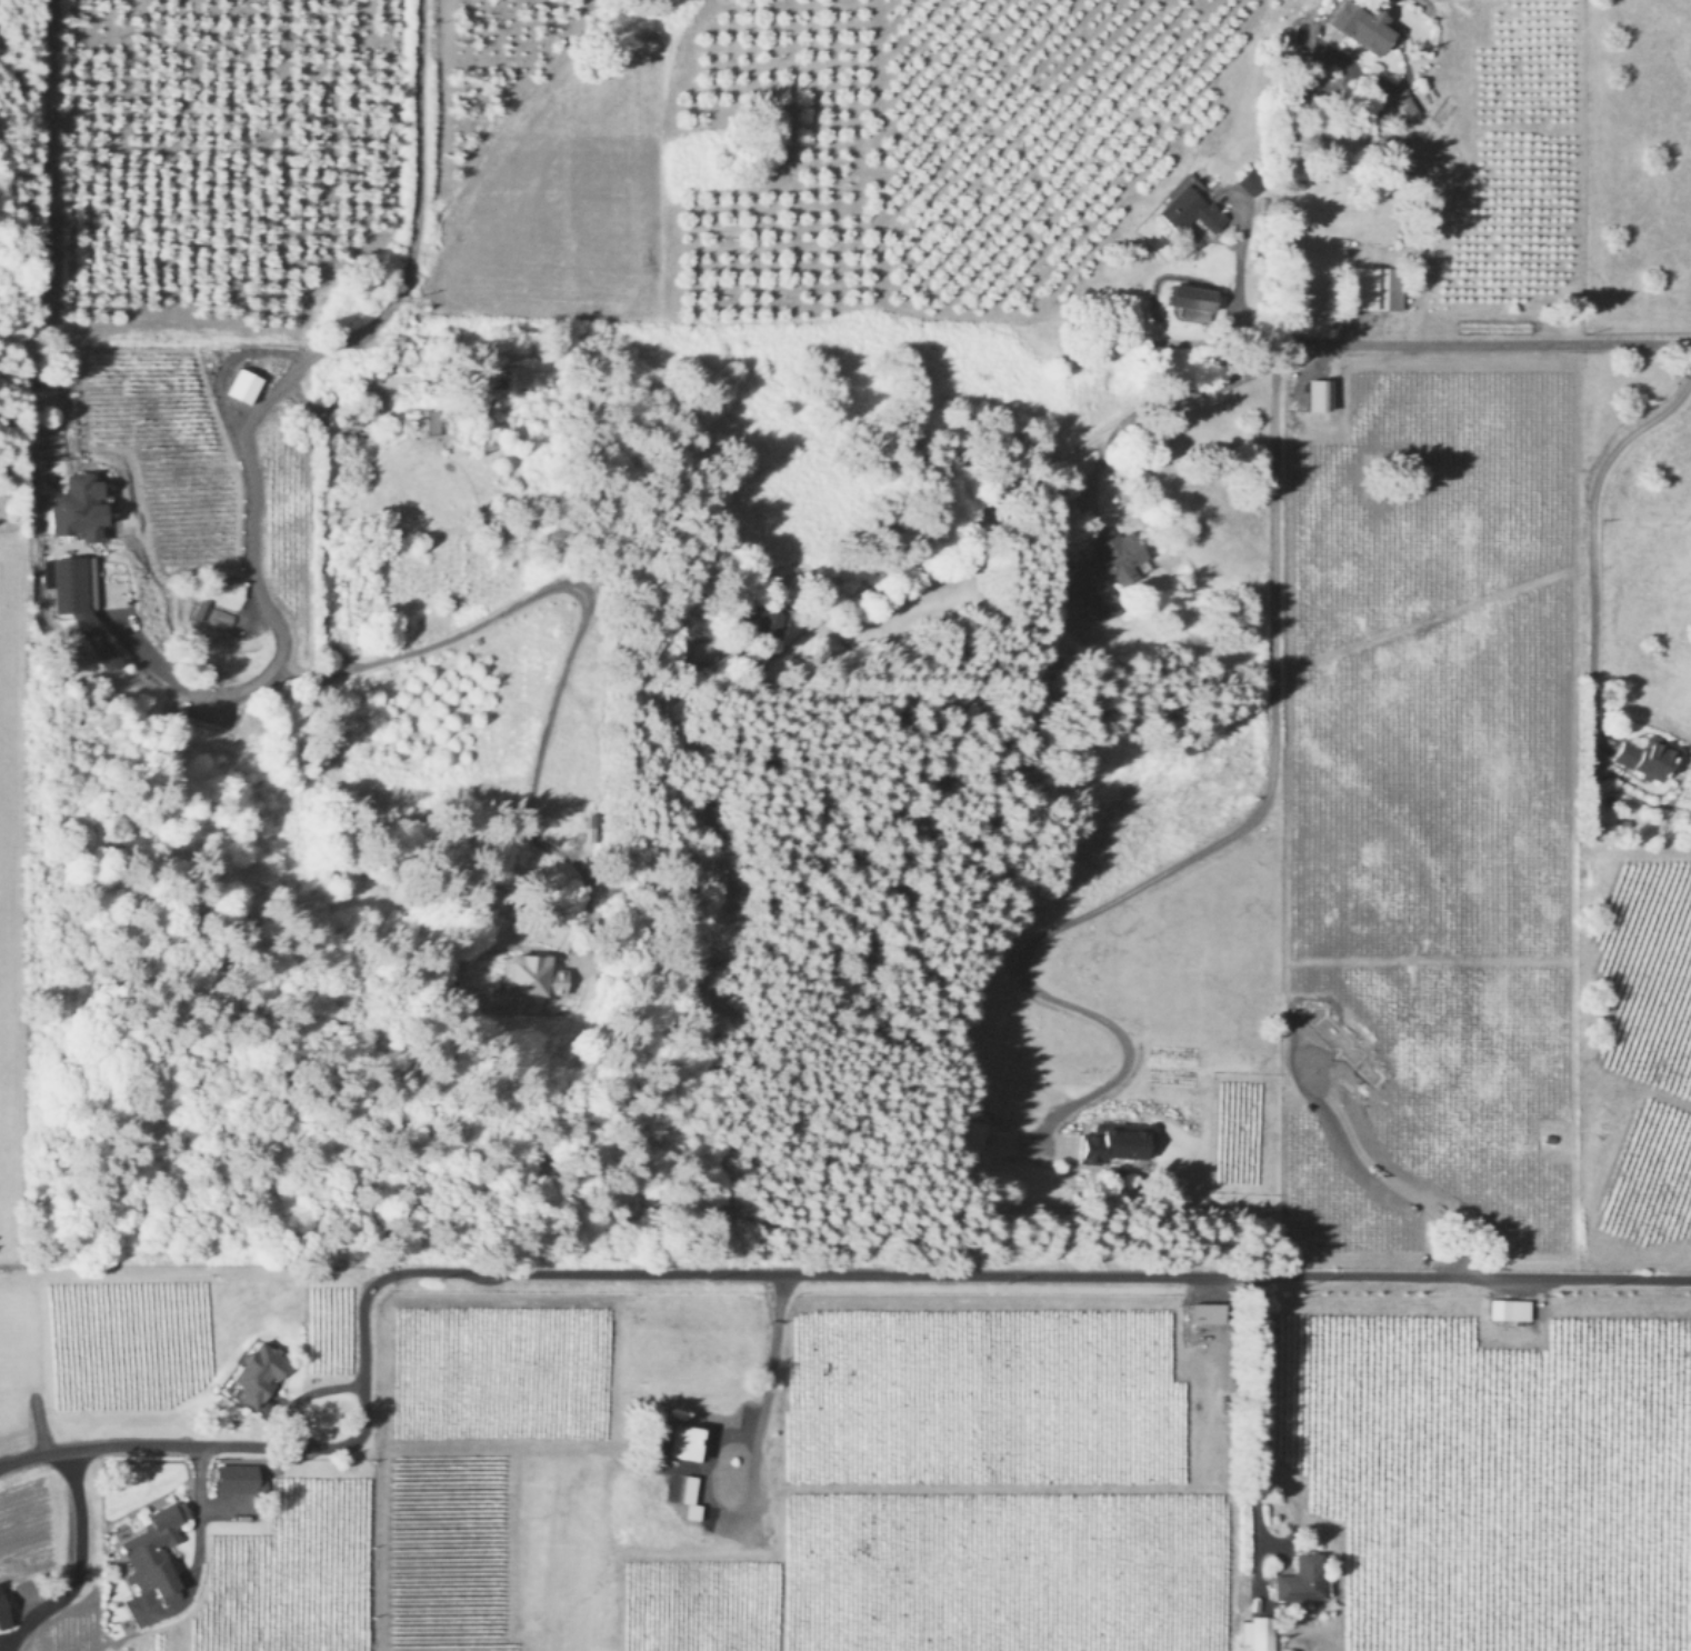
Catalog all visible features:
building: (1361, 24)
building: (1397, 104)
building: (1250, 181)
road: (1283, 199)
building: (1192, 209)
road: (1239, 276)
building: (1373, 287)
building: (1192, 301)
road: (1288, 347)
road: (286, 383)
building: (244, 384)
building: (1319, 394)
building: (433, 423)
road: (1097, 471)
road: (1022, 479)
building: (78, 507)
road: (1589, 546)
building: (1110, 569)
road: (542, 580)
building: (79, 601)
building: (202, 608)
building: (220, 618)
building: (766, 619)
crop: (1405, 648)
road: (1299, 702)
building: (1645, 756)
building: (593, 825)
road: (1233, 838)
building: (537, 974)
building: (1117, 1139)
road: (1374, 1174)
road: (1064, 1272)
building: (1509, 1308)
building: (1209, 1311)
road: (763, 1360)
building: (258, 1371)
road: (1251, 1435)
building: (683, 1440)
road: (292, 1447)
building: (238, 1477)
road: (198, 1540)
building: (154, 1549)
road: (73, 1558)
building: (1301, 1578)
building: (2, 1613)
building: (1258, 1632)

